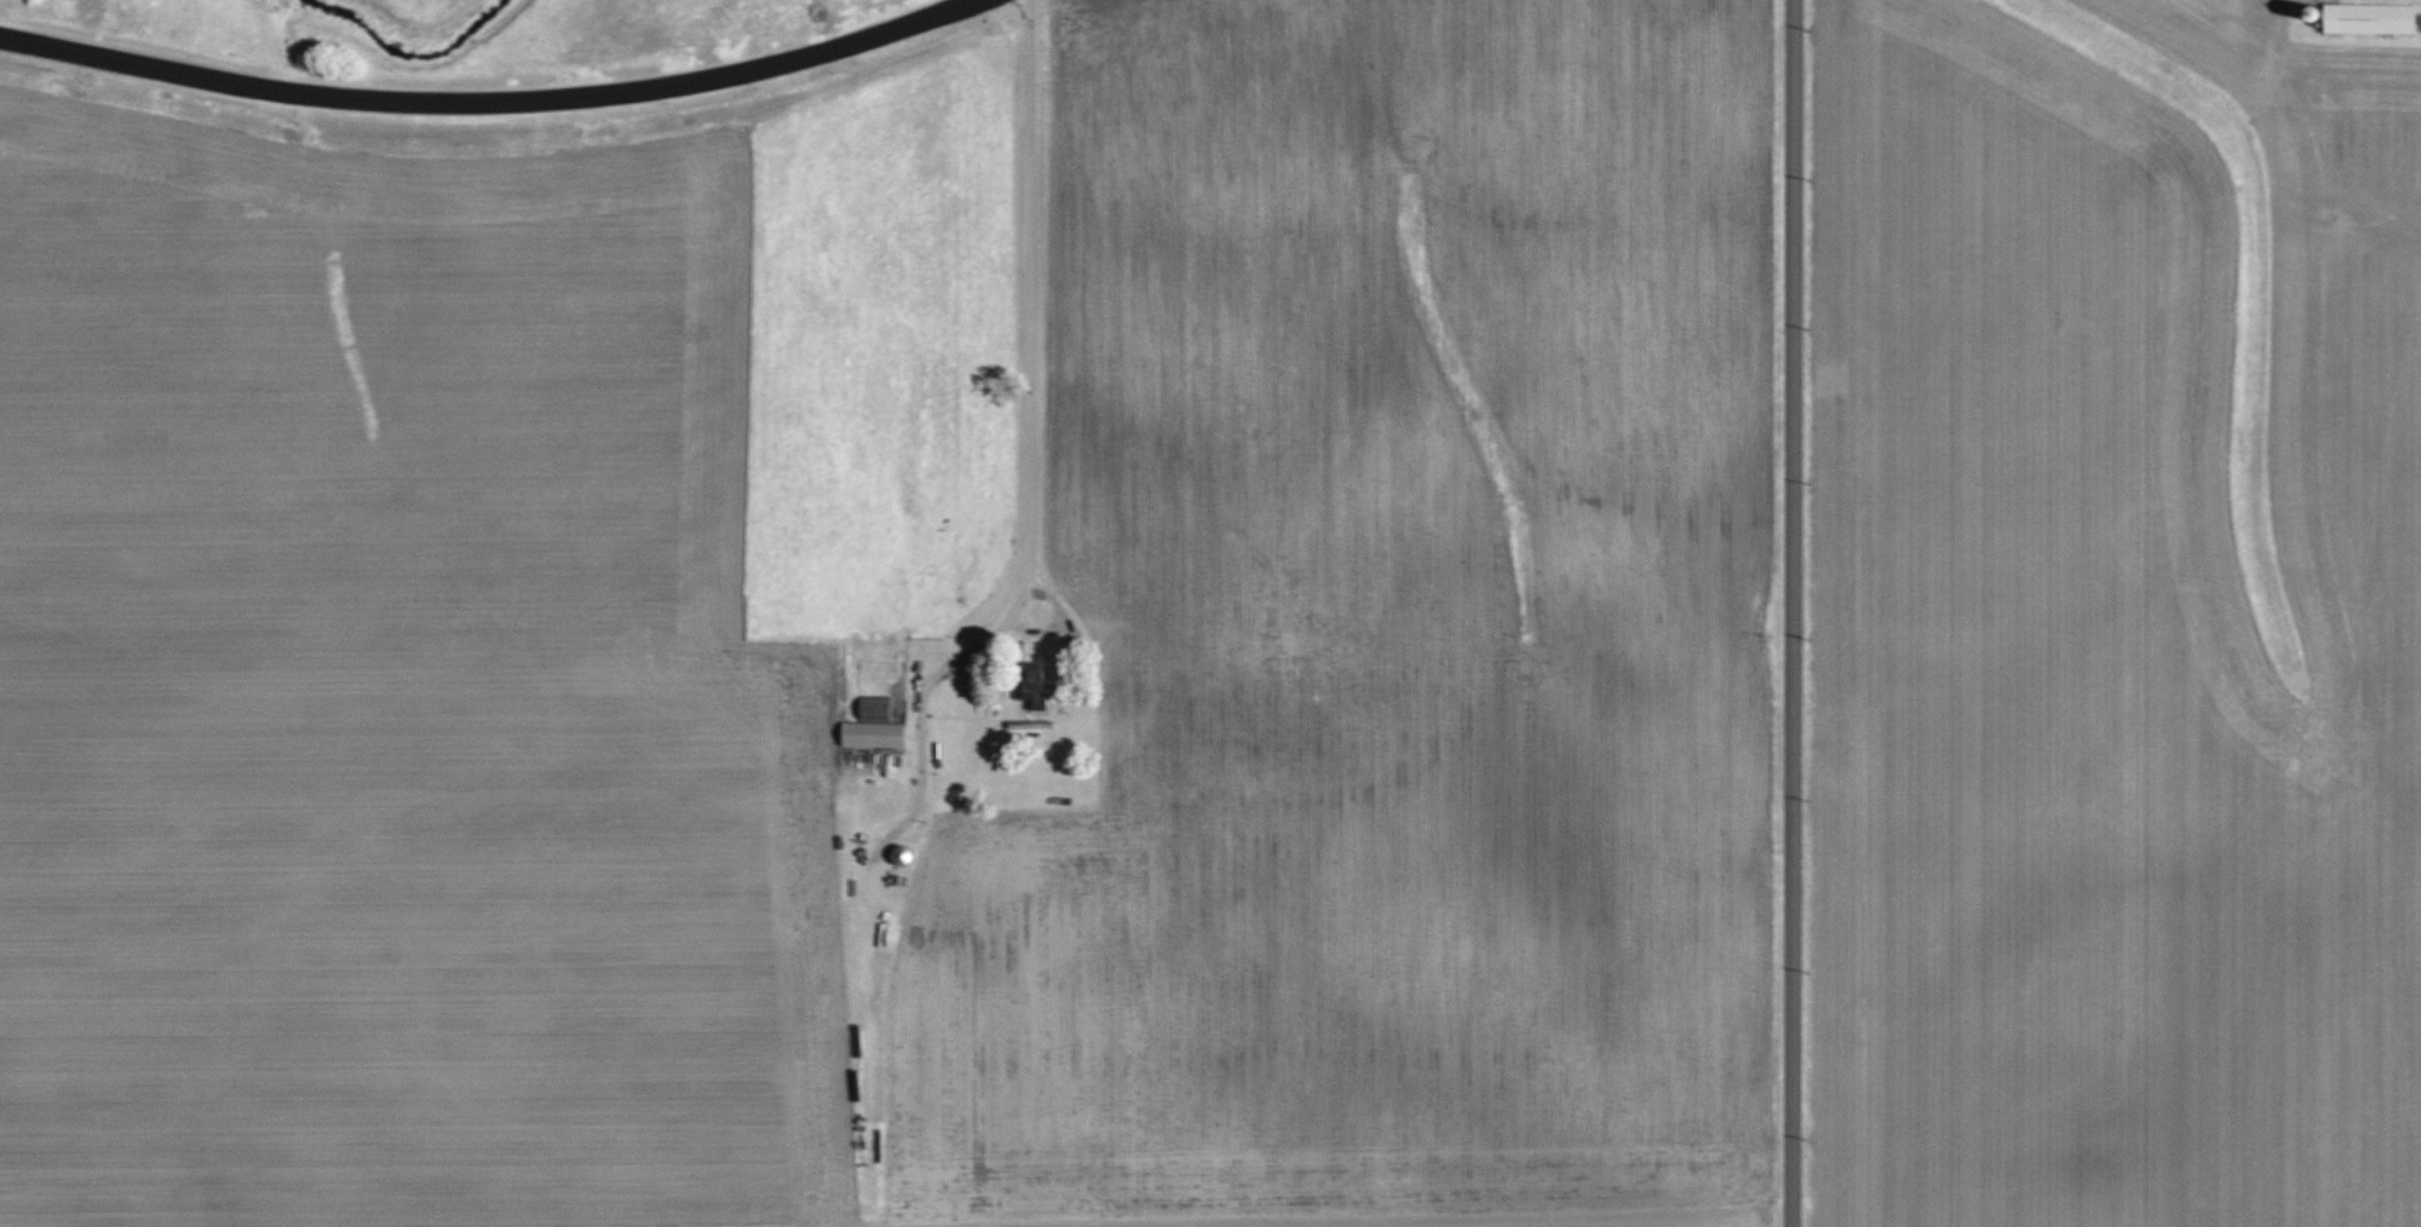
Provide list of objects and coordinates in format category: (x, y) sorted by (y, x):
building: (2370, 18)
road: (505, 111)
road: (1043, 410)
road: (1798, 613)
building: (1035, 686)
building: (875, 726)

